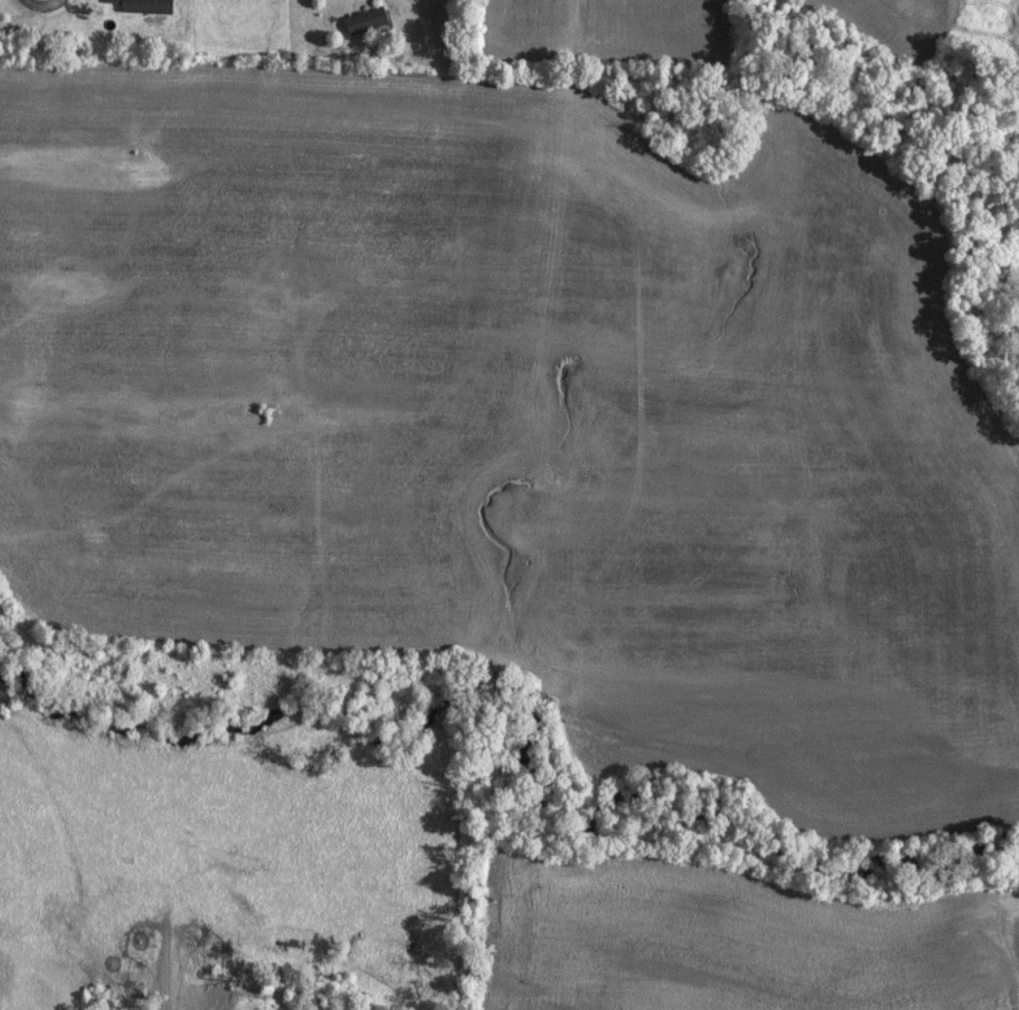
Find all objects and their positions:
road: (41, 5)
building: (143, 5)
building: (363, 19)

